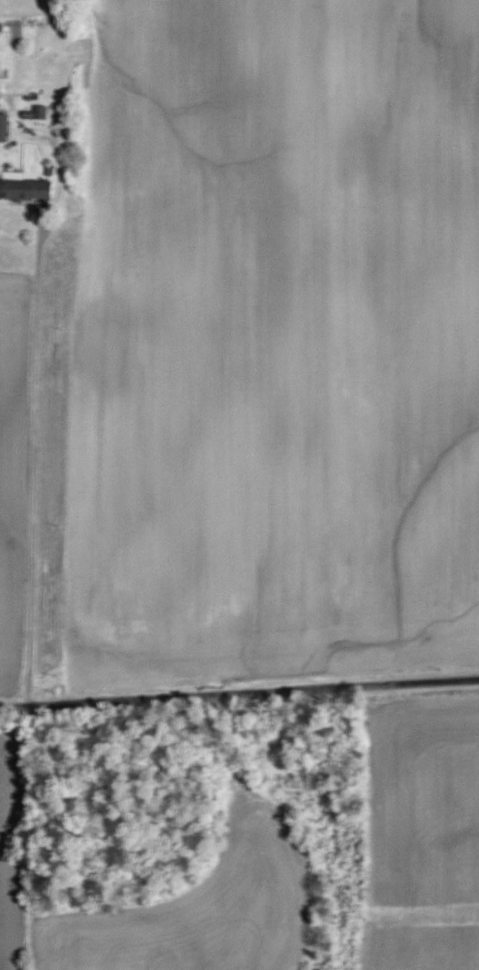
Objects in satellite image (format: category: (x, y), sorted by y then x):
building: (3, 127)
building: (23, 187)
road: (41, 458)
road: (239, 690)

